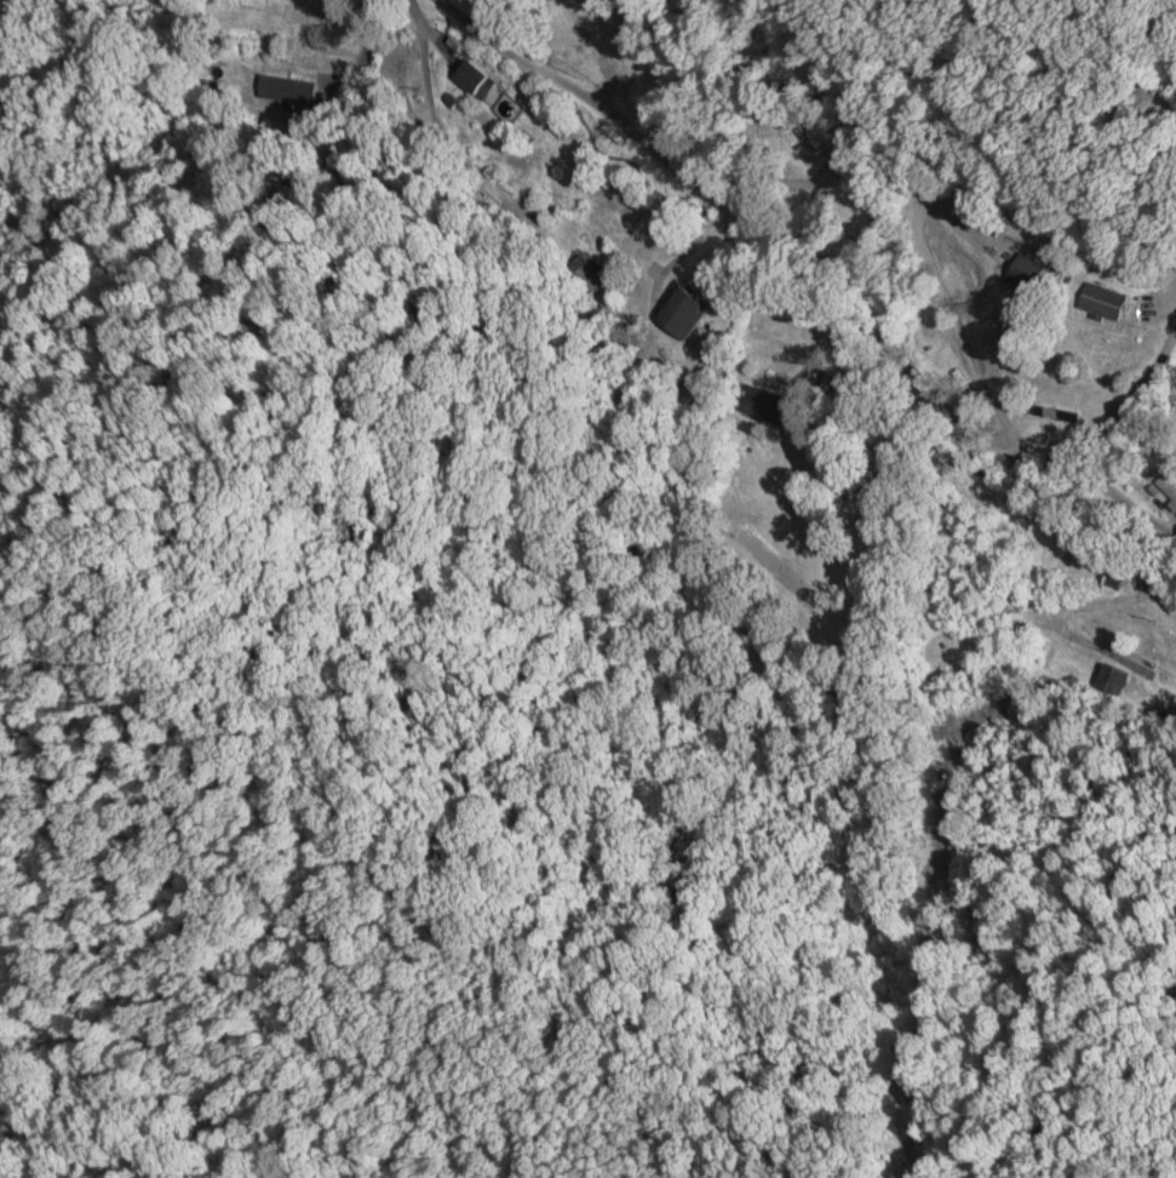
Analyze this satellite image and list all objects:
building: (306, 42)
road: (338, 56)
road: (115, 72)
building: (470, 76)
road: (733, 195)
building: (1101, 299)
building: (681, 314)
building: (1114, 679)

